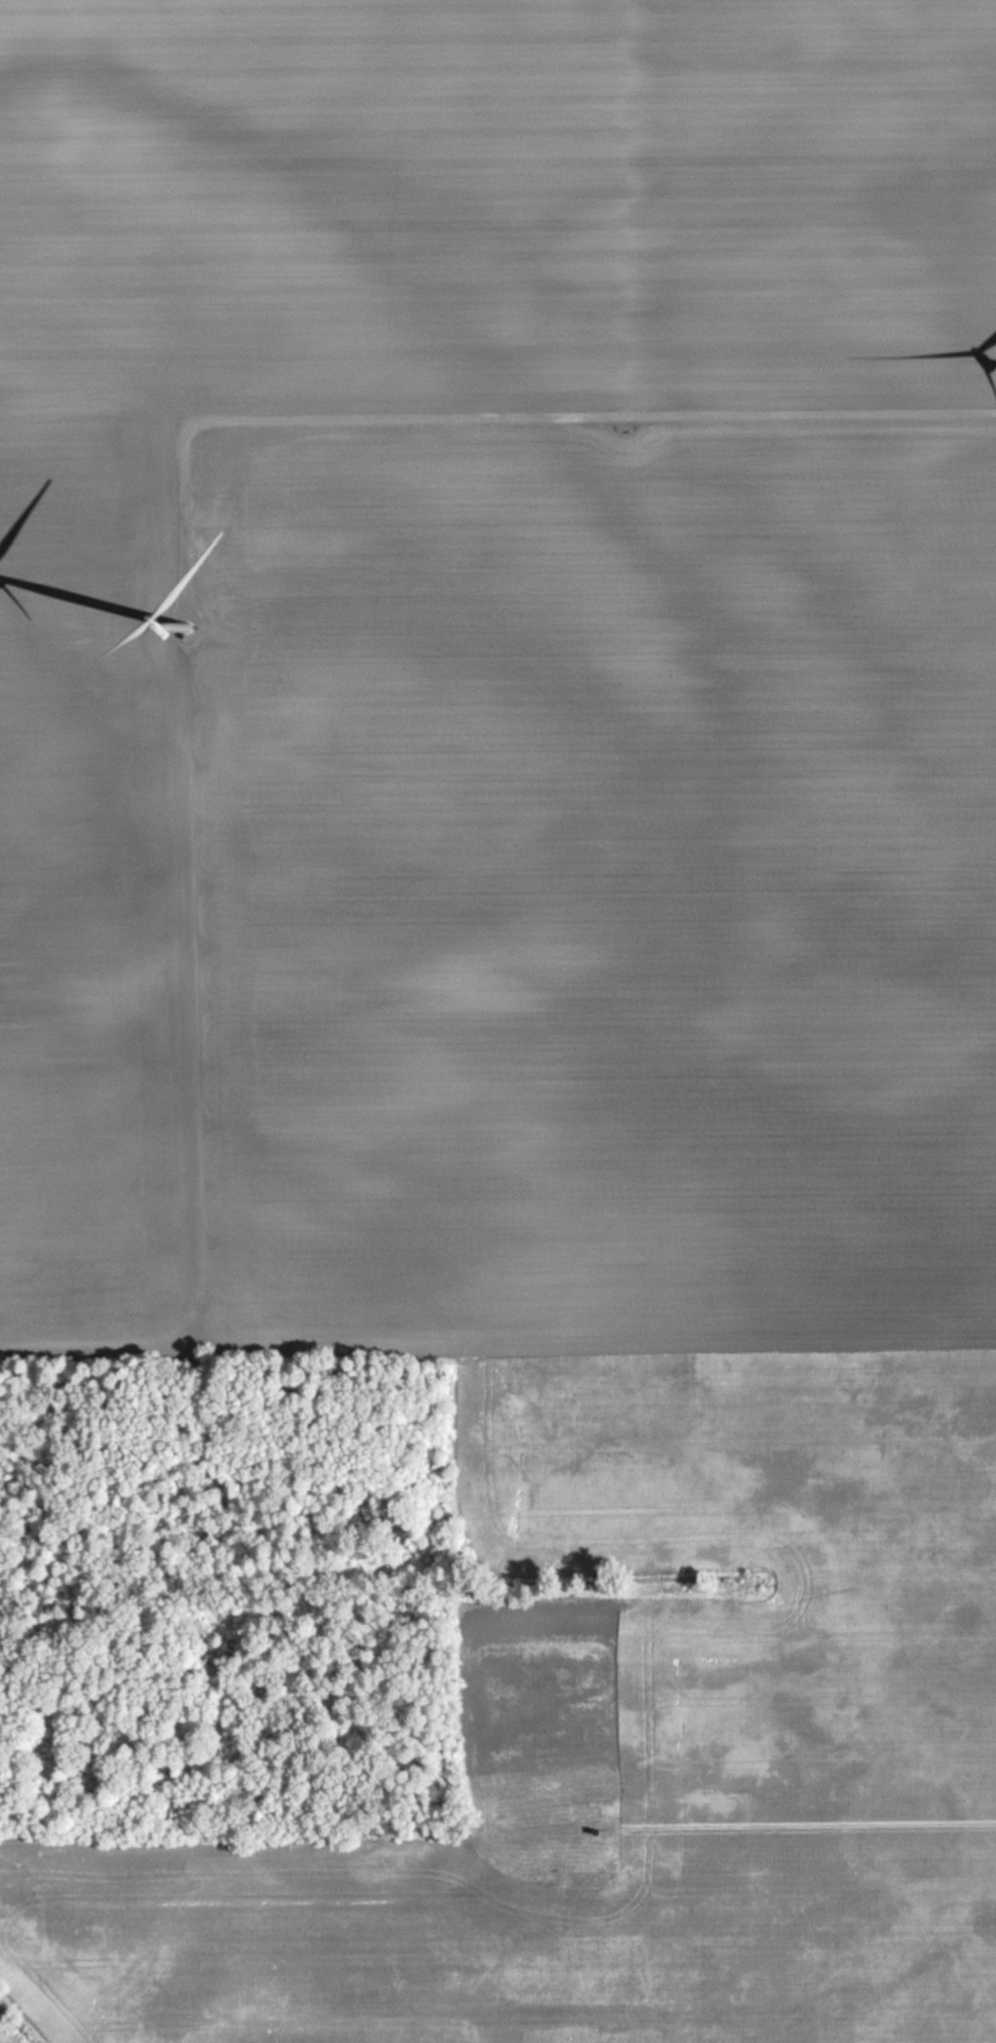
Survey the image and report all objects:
wind turbine: (180, 623)

